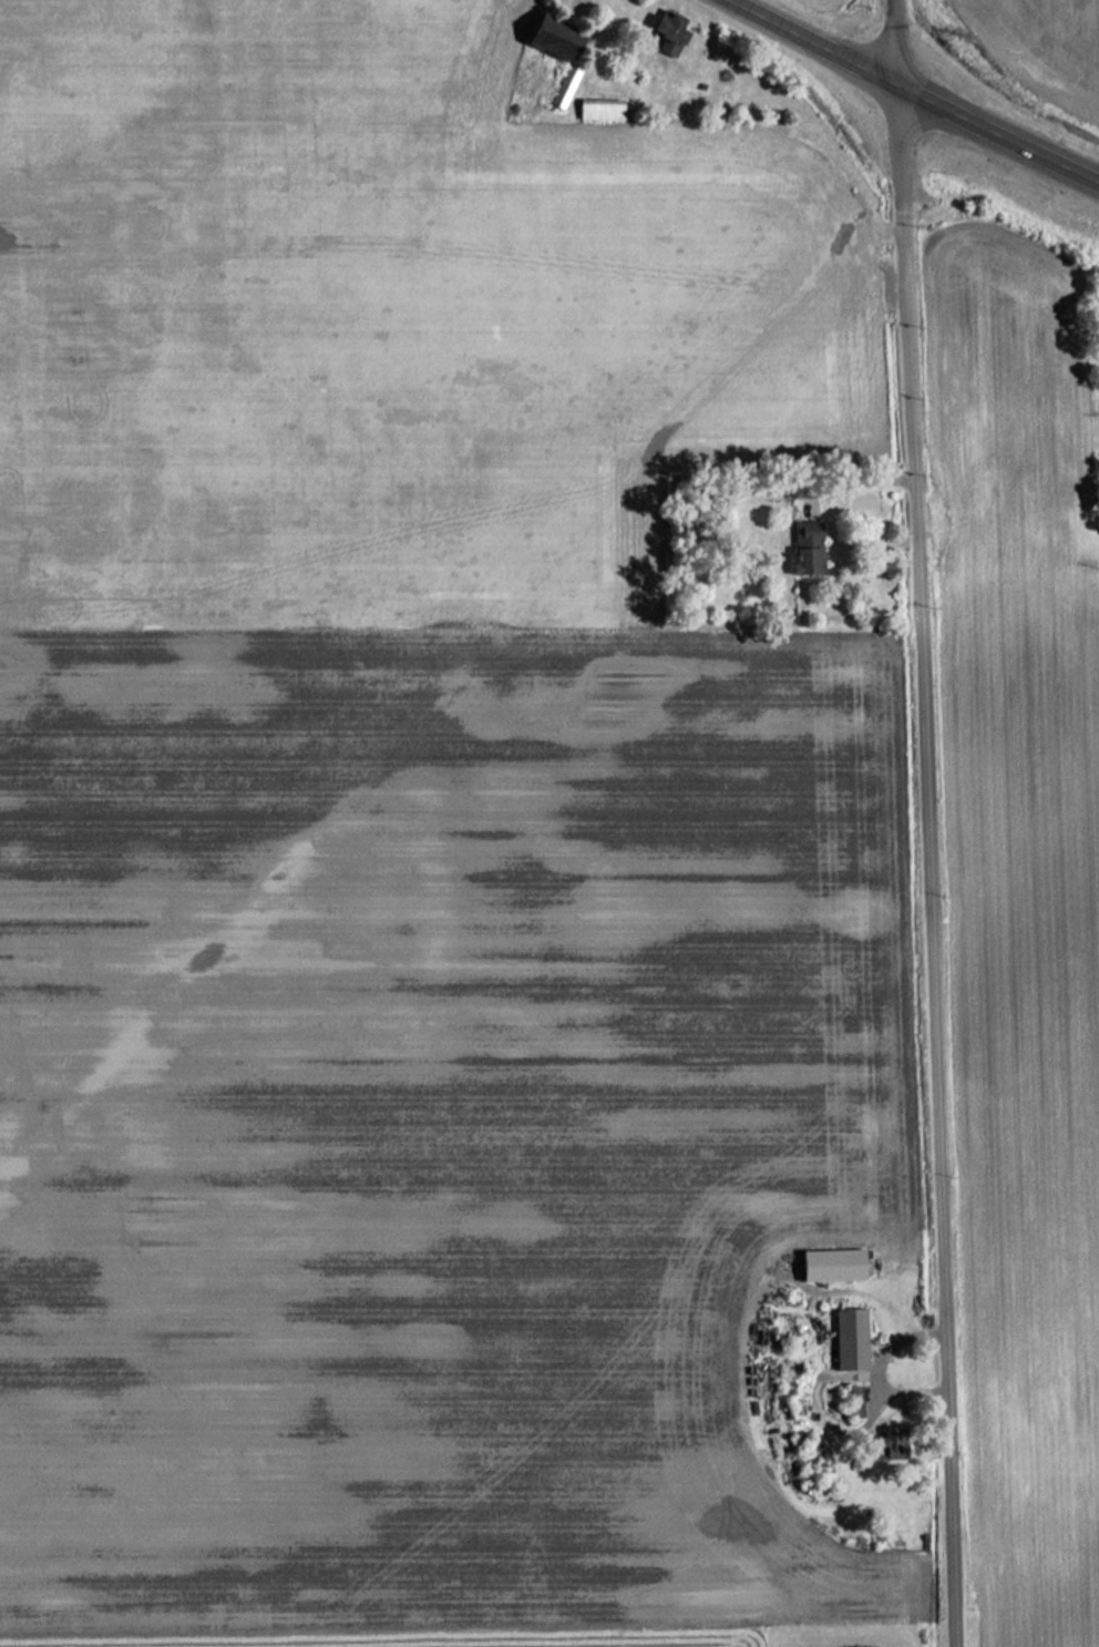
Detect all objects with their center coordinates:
building: (670, 32)
road: (825, 38)
building: (559, 51)
building: (599, 110)
road: (998, 125)
crop: (380, 317)
building: (807, 553)
road: (927, 822)
crop: (429, 1122)
building: (833, 1266)
building: (850, 1340)
building: (894, 1442)

